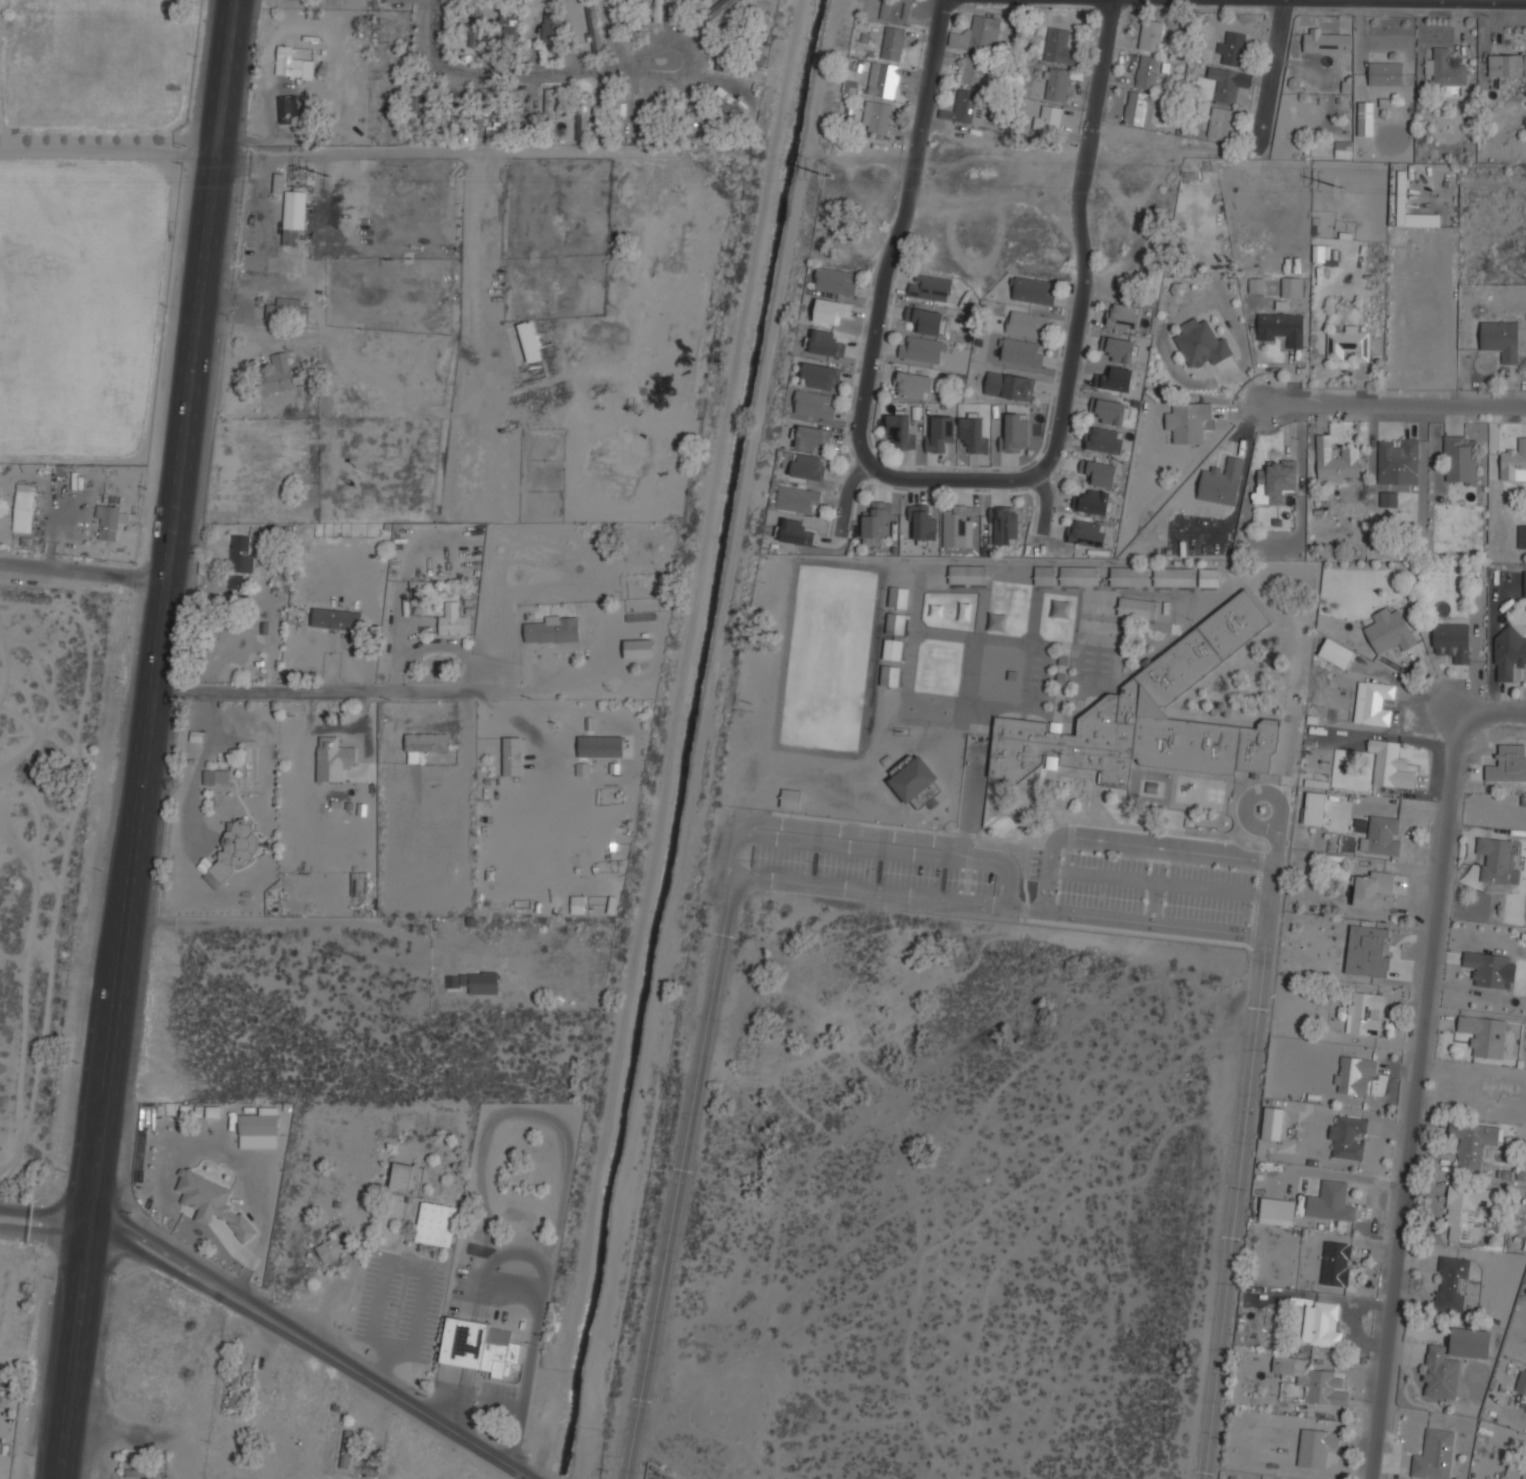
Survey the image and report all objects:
road: (1138, 3)
building: (716, 8)
building: (896, 9)
building: (658, 10)
building: (758, 19)
building: (550, 26)
building: (511, 27)
building: (592, 27)
building: (475, 28)
building: (978, 35)
building: (1151, 35)
building: (1327, 42)
building: (893, 43)
building: (1052, 45)
building: (1233, 48)
road: (685, 54)
crop: (98, 64)
building: (292, 64)
building: (1507, 65)
road: (507, 69)
building: (734, 69)
building: (1445, 69)
building: (973, 70)
building: (1148, 72)
building: (1385, 73)
road: (1277, 75)
building: (883, 80)
building: (1228, 83)
building: (1057, 86)
building: (728, 102)
building: (549, 107)
building: (964, 108)
building: (1139, 108)
building: (288, 109)
building: (417, 115)
building: (616, 116)
building: (583, 117)
building: (876, 118)
building: (1365, 118)
building: (1050, 119)
building: (515, 120)
building: (449, 121)
building: (475, 122)
building: (686, 122)
building: (1220, 123)
building: (1343, 149)
road: (110, 151)
power tower: (334, 177)
power tower: (833, 177)
building: (278, 183)
power tower: (1347, 188)
road: (902, 231)
building: (291, 236)
road: (1080, 241)
building: (1321, 252)
building: (835, 281)
building: (1256, 285)
building: (1291, 287)
building: (931, 288)
building: (1176, 289)
building: (1034, 291)
building: (287, 310)
building: (831, 311)
building: (1124, 316)
building: (925, 321)
building: (1027, 325)
building: (1281, 327)
building: (1499, 339)
building: (529, 341)
building: (826, 343)
building: (1202, 344)
building: (1347, 344)
building: (921, 350)
building: (1120, 351)
building: (1020, 353)
building: (276, 374)
building: (820, 376)
building: (1117, 379)
building: (914, 385)
building: (1010, 387)
building: (814, 404)
road: (1393, 406)
building: (1109, 412)
building: (1188, 421)
building: (900, 431)
building: (1014, 431)
building: (940, 434)
building: (972, 434)
building: (812, 436)
building: (1106, 440)
building: (1460, 459)
building: (1398, 461)
building: (1514, 461)
building: (1338, 464)
building: (808, 466)
building: (1099, 472)
road: (947, 478)
building: (1275, 481)
building: (1221, 482)
road: (846, 495)
building: (796, 498)
building: (1388, 499)
building: (1093, 501)
road: (1044, 502)
building: (23, 509)
building: (107, 523)
building: (922, 523)
building: (875, 525)
building: (1006, 525)
building: (958, 527)
building: (795, 532)
building: (1089, 533)
building: (1522, 536)
building: (242, 554)
building: (968, 574)
building: (1045, 575)
building: (1079, 576)
building: (1129, 576)
building: (1174, 577)
building: (1209, 578)
road: (83, 579)
building: (236, 581)
building: (1524, 583)
building: (281, 585)
building: (899, 597)
building: (1137, 608)
building: (937, 611)
building: (966, 612)
road: (163, 615)
building: (336, 618)
building: (452, 621)
building: (896, 624)
building: (554, 630)
building: (1389, 631)
building: (1451, 640)
building: (638, 649)
building: (893, 649)
building: (1336, 653)
building: (1508, 655)
building: (890, 676)
road: (319, 686)
building: (1375, 703)
building: (1148, 718)
road: (541, 734)
building: (423, 744)
building: (600, 747)
building: (512, 756)
building: (336, 757)
building: (1508, 763)
building: (1390, 764)
building: (215, 776)
building: (917, 783)
building: (791, 798)
building: (1314, 808)
building: (1382, 835)
building: (233, 852)
building: (1495, 859)
road: (1049, 874)
building: (359, 884)
building: (1373, 888)
building: (578, 904)
road: (304, 921)
building: (1368, 950)
building: (1490, 969)
building: (475, 982)
building: (1364, 1013)
building: (1484, 1035)
road: (1436, 1061)
building: (1353, 1074)
building: (260, 1122)
building: (1272, 1123)
building: (1348, 1137)
road: (1243, 1142)
building: (1472, 1146)
building: (407, 1179)
building: (1330, 1202)
building: (212, 1203)
building: (1278, 1209)
building: (1466, 1211)
road: (43, 1223)
building: (435, 1224)
building: (333, 1246)
building: (1336, 1263)
building: (1451, 1284)
building: (1321, 1324)
road: (316, 1341)
road: (532, 1342)
building: (480, 1347)
road: (71, 1354)
building: (1451, 1361)
building: (1521, 1382)
building: (1313, 1384)
building: (235, 1388)
flagpole: (479, 1422)
building: (1316, 1447)
building: (347, 1449)
building: (1435, 1455)

